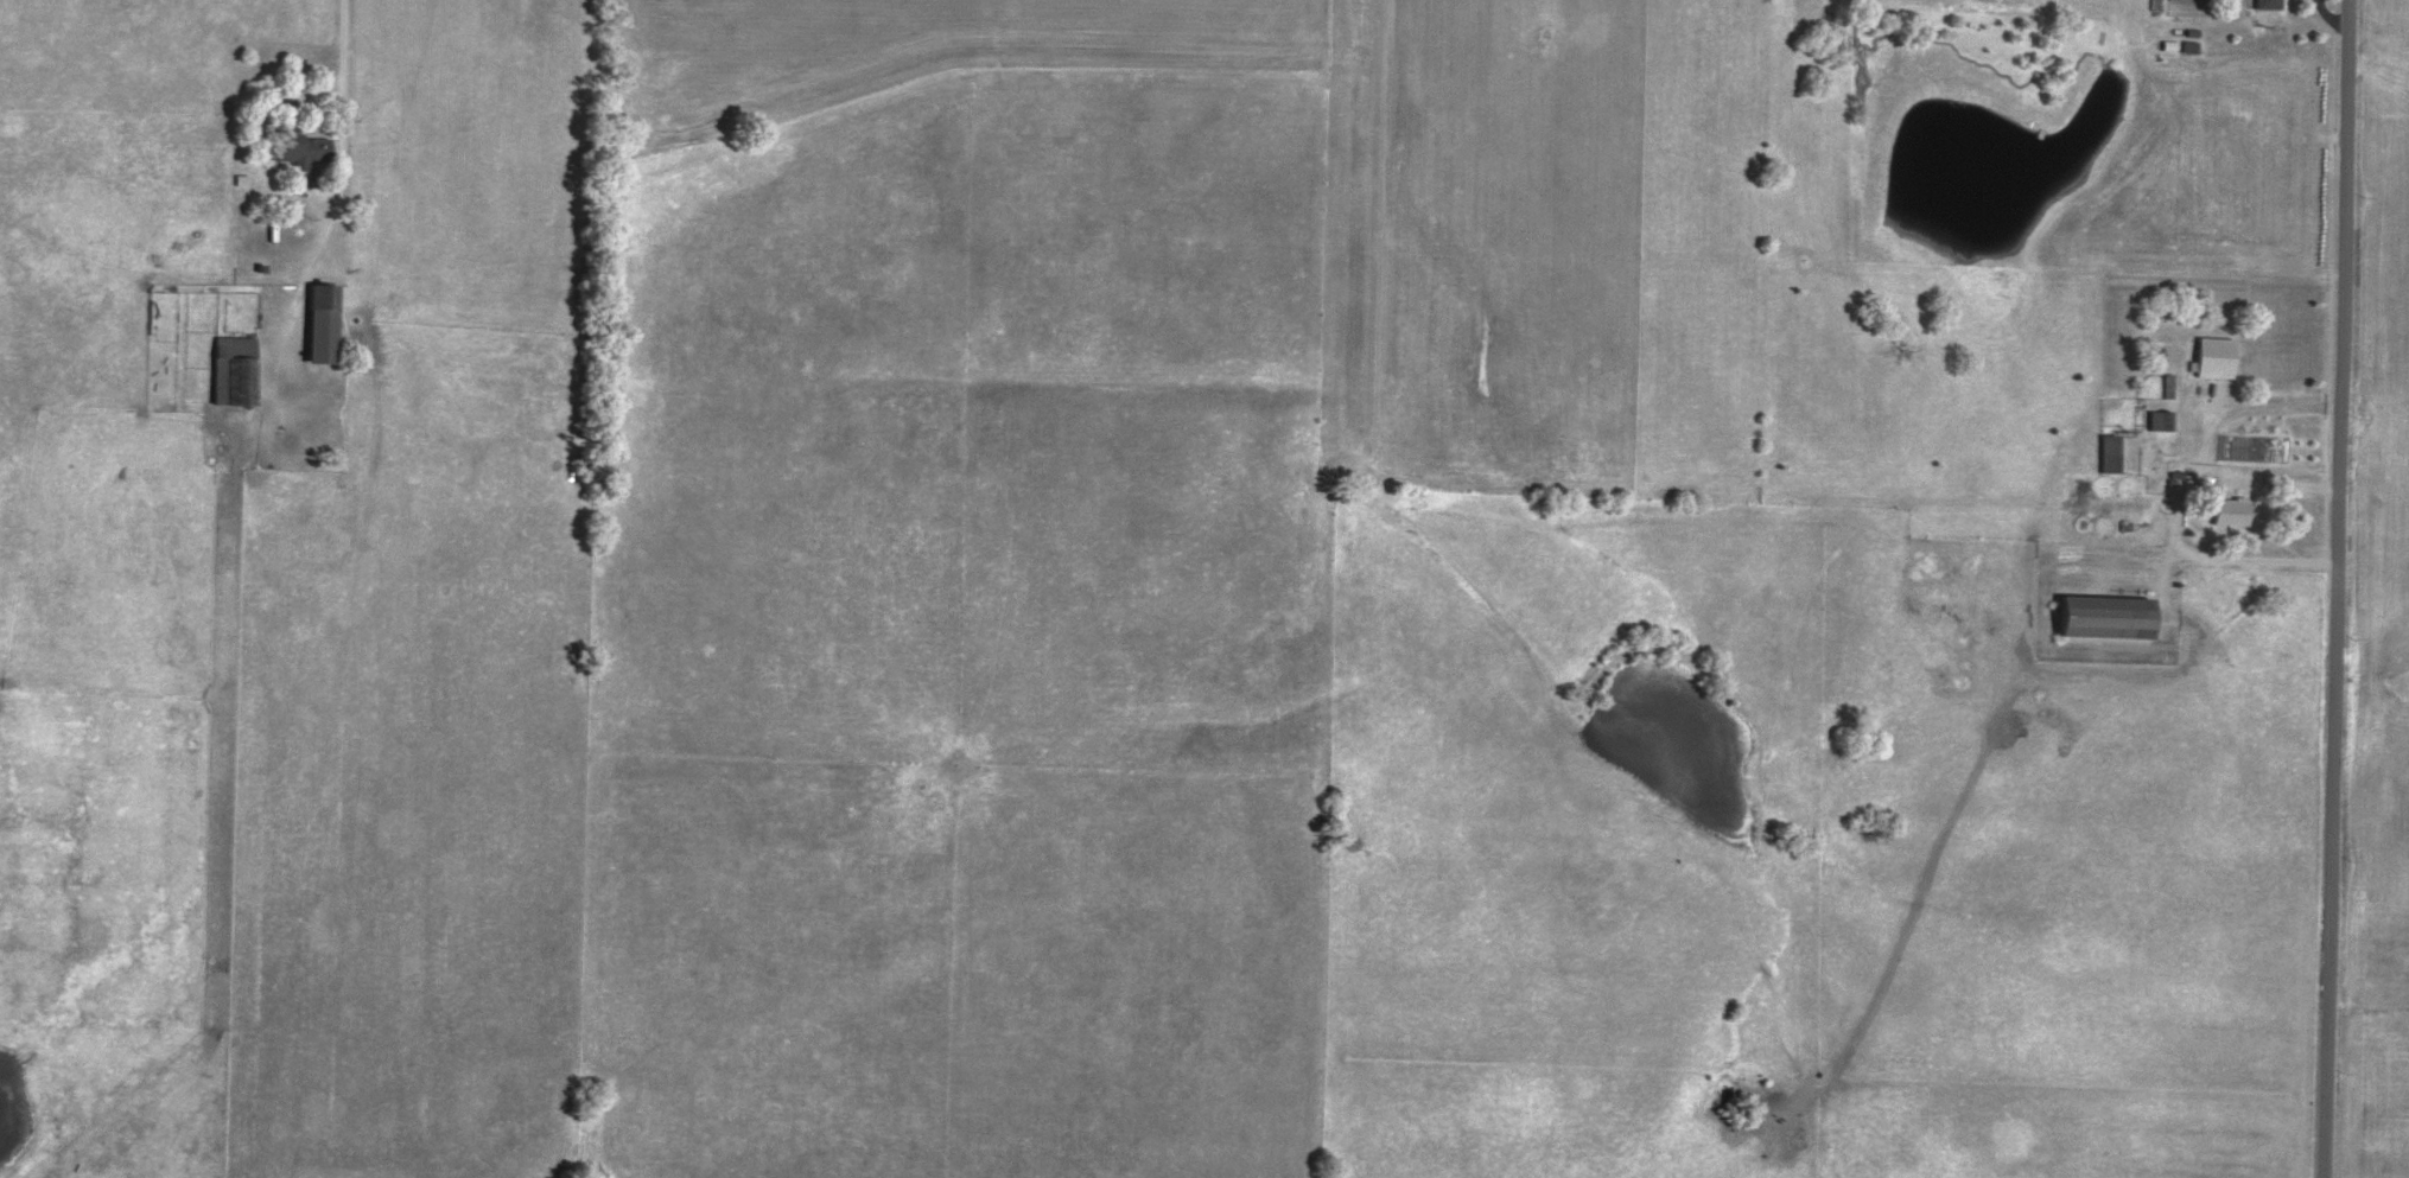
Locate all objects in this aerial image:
building: (2268, 2)
road: (343, 110)
building: (299, 149)
building: (317, 323)
building: (2210, 356)
building: (230, 370)
building: (2166, 384)
building: (2106, 452)
building: (2226, 509)
road: (2175, 518)
road: (2332, 588)
building: (2100, 616)

